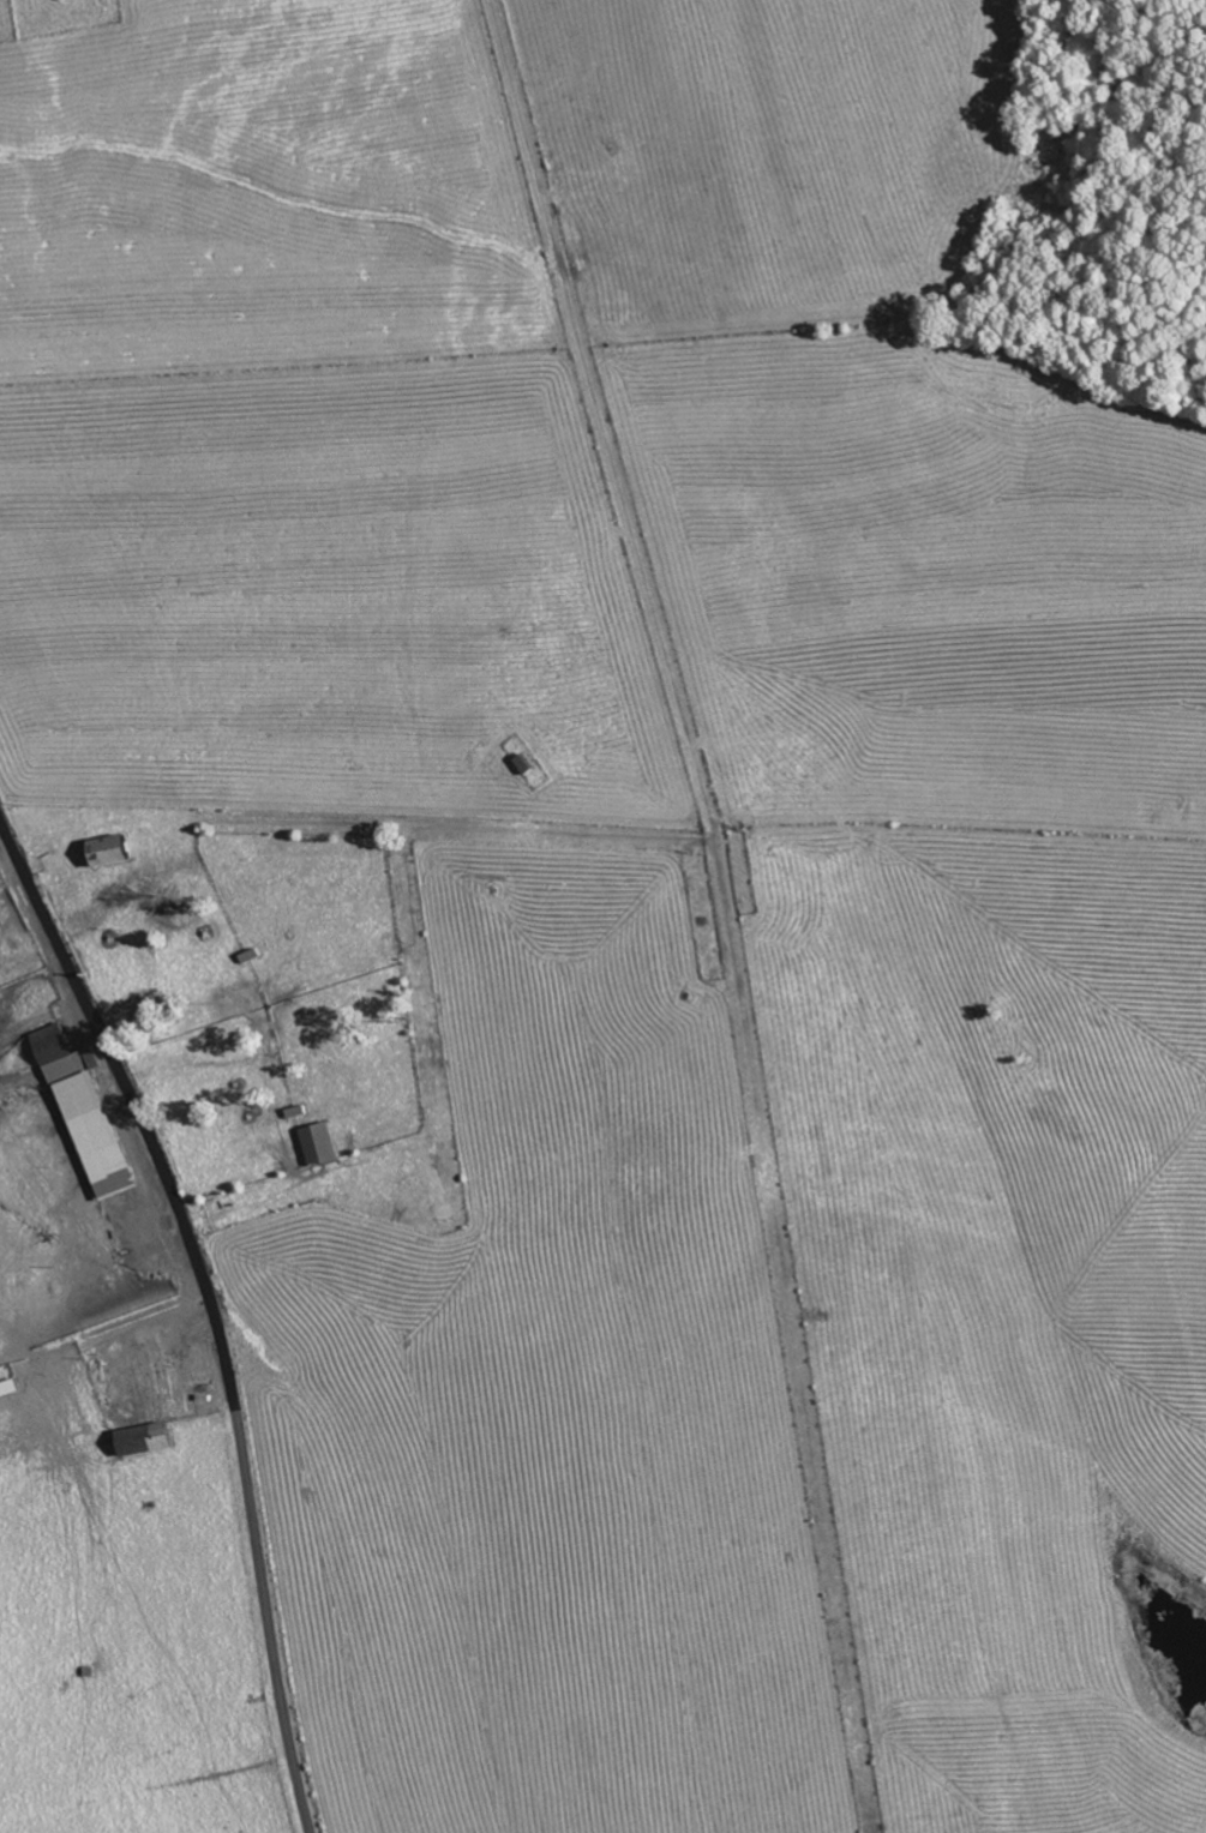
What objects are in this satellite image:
building: (114, 849)
road: (602, 853)
building: (90, 1113)
building: (322, 1144)
road: (211, 1309)
road: (76, 1327)
building: (149, 1440)

